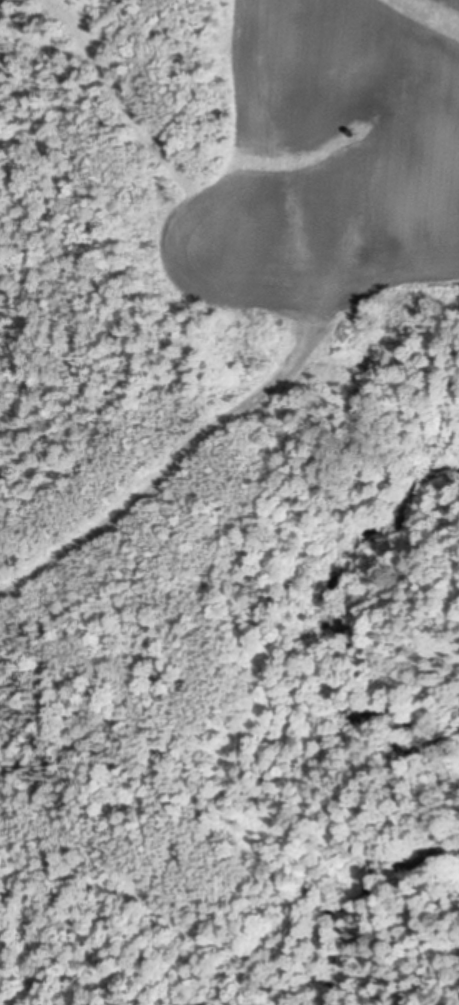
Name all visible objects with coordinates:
crop: (320, 160)

